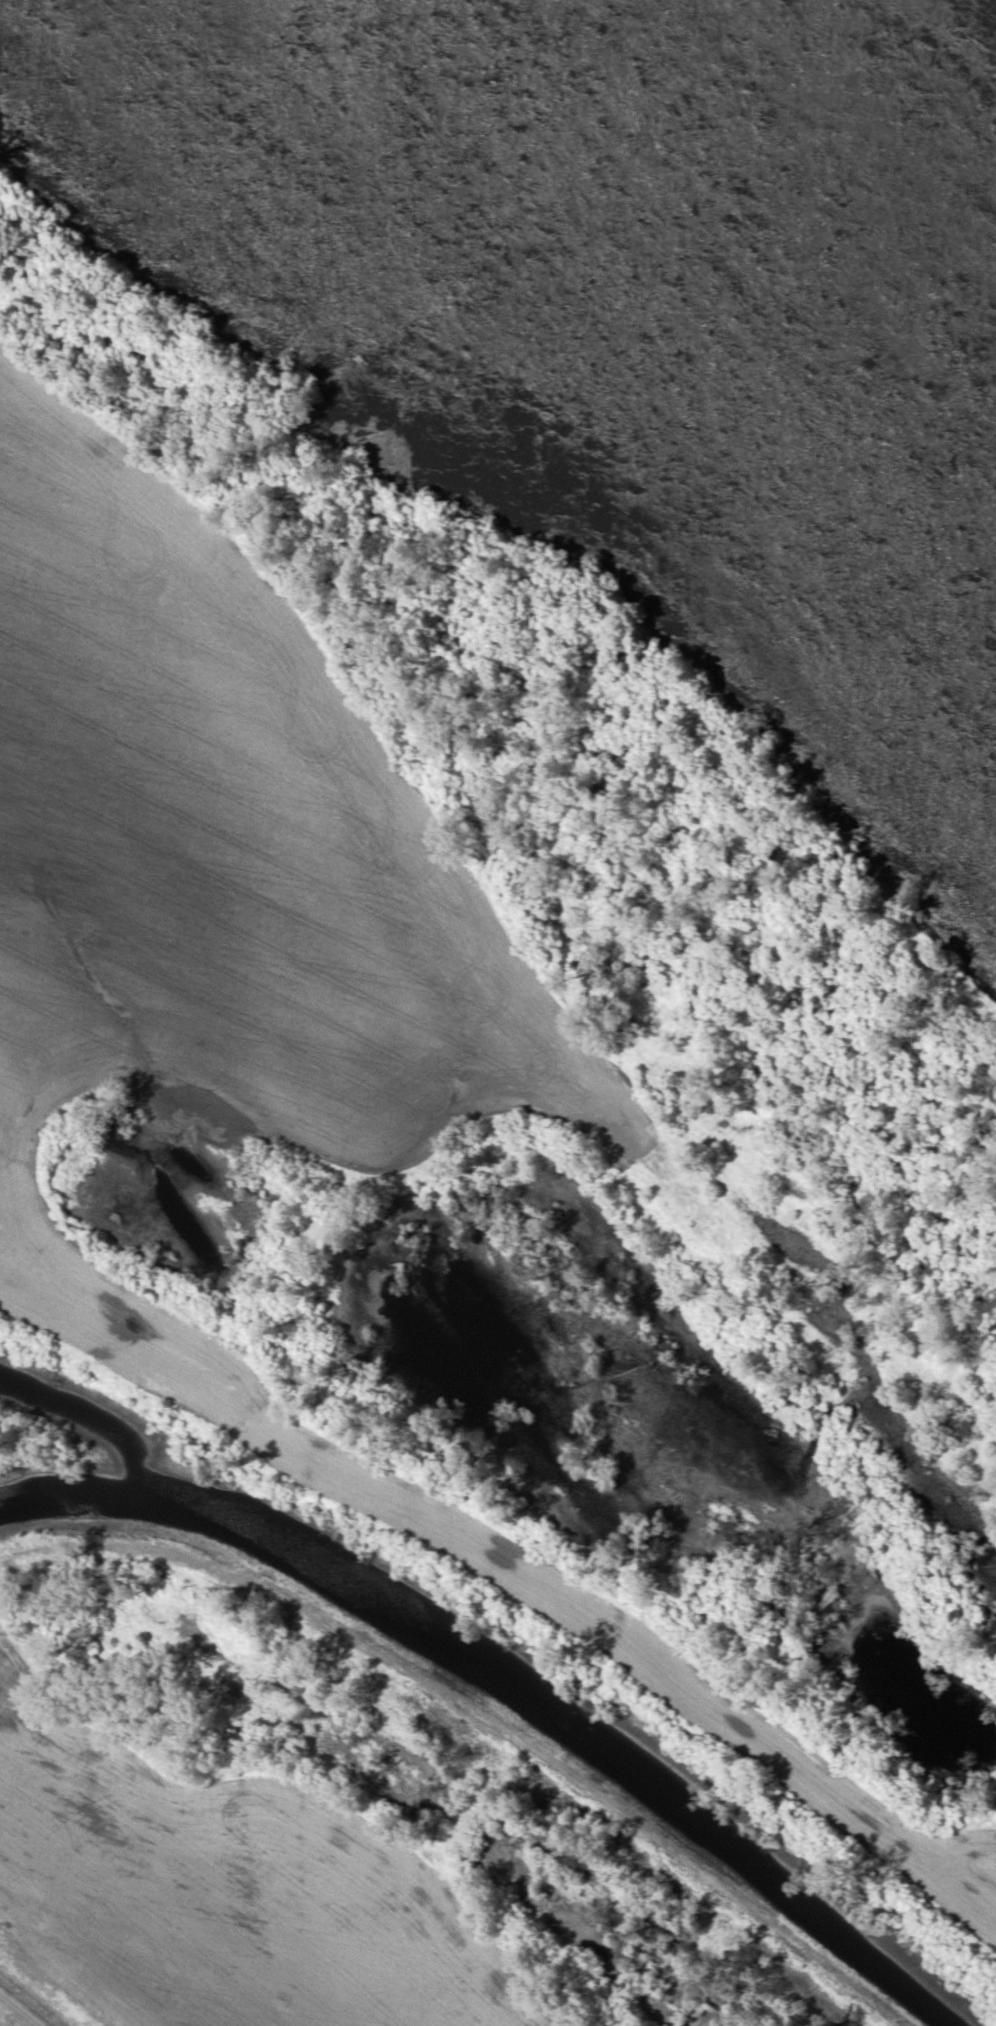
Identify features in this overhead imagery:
river: (694, 223)
crop: (301, 1002)
crop: (225, 1892)
road: (22, 2008)

